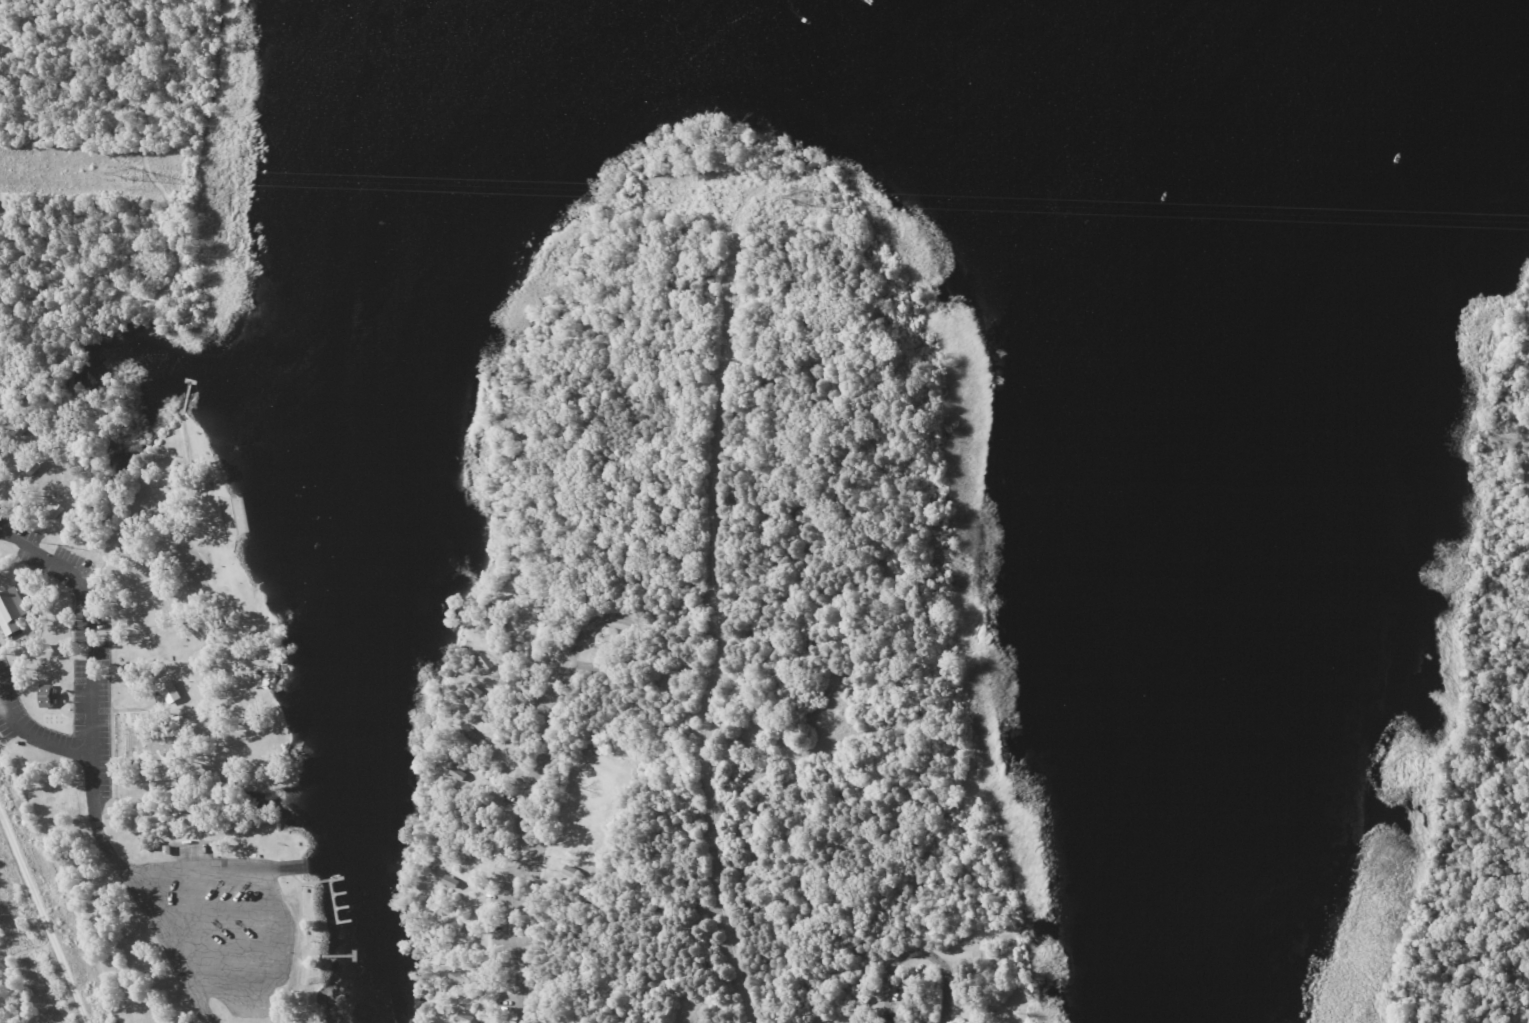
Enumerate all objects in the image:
road: (30, 16)
power tower: (129, 176)
power tower: (803, 199)
road: (168, 228)
road: (830, 399)
road: (1526, 461)
building: (33, 467)
building: (11, 611)
road: (88, 621)
road: (636, 645)
building: (170, 691)
building: (46, 695)
road: (33, 734)
road: (514, 831)
road: (134, 895)
building: (99, 911)
road: (43, 916)
road: (917, 951)
road: (1520, 1016)

